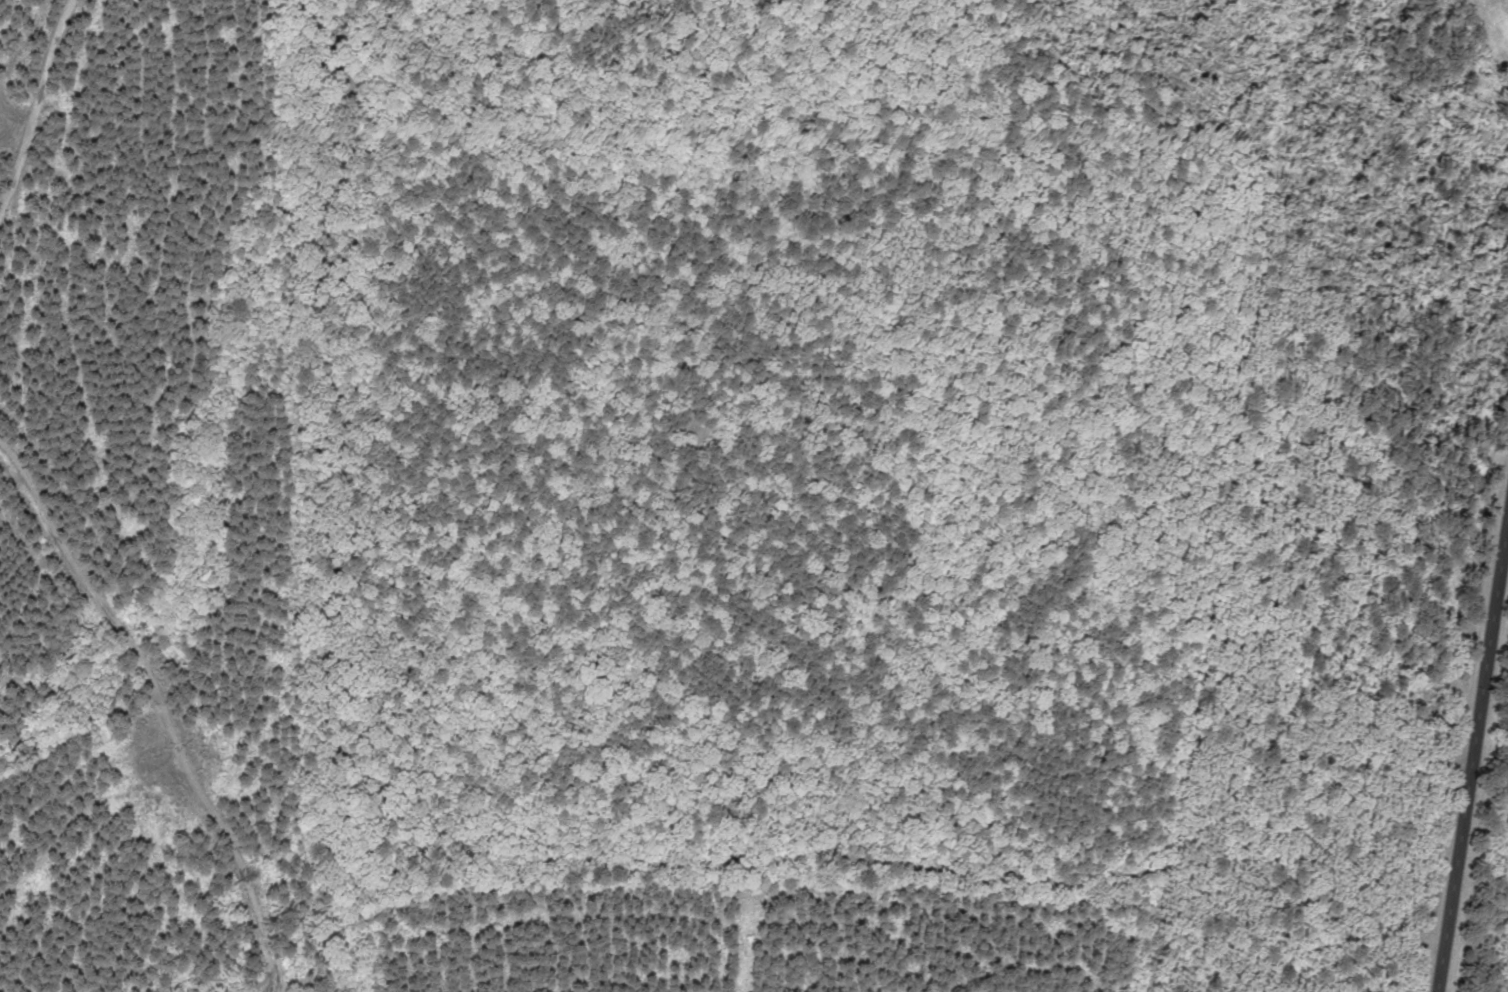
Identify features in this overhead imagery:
road: (1472, 751)

